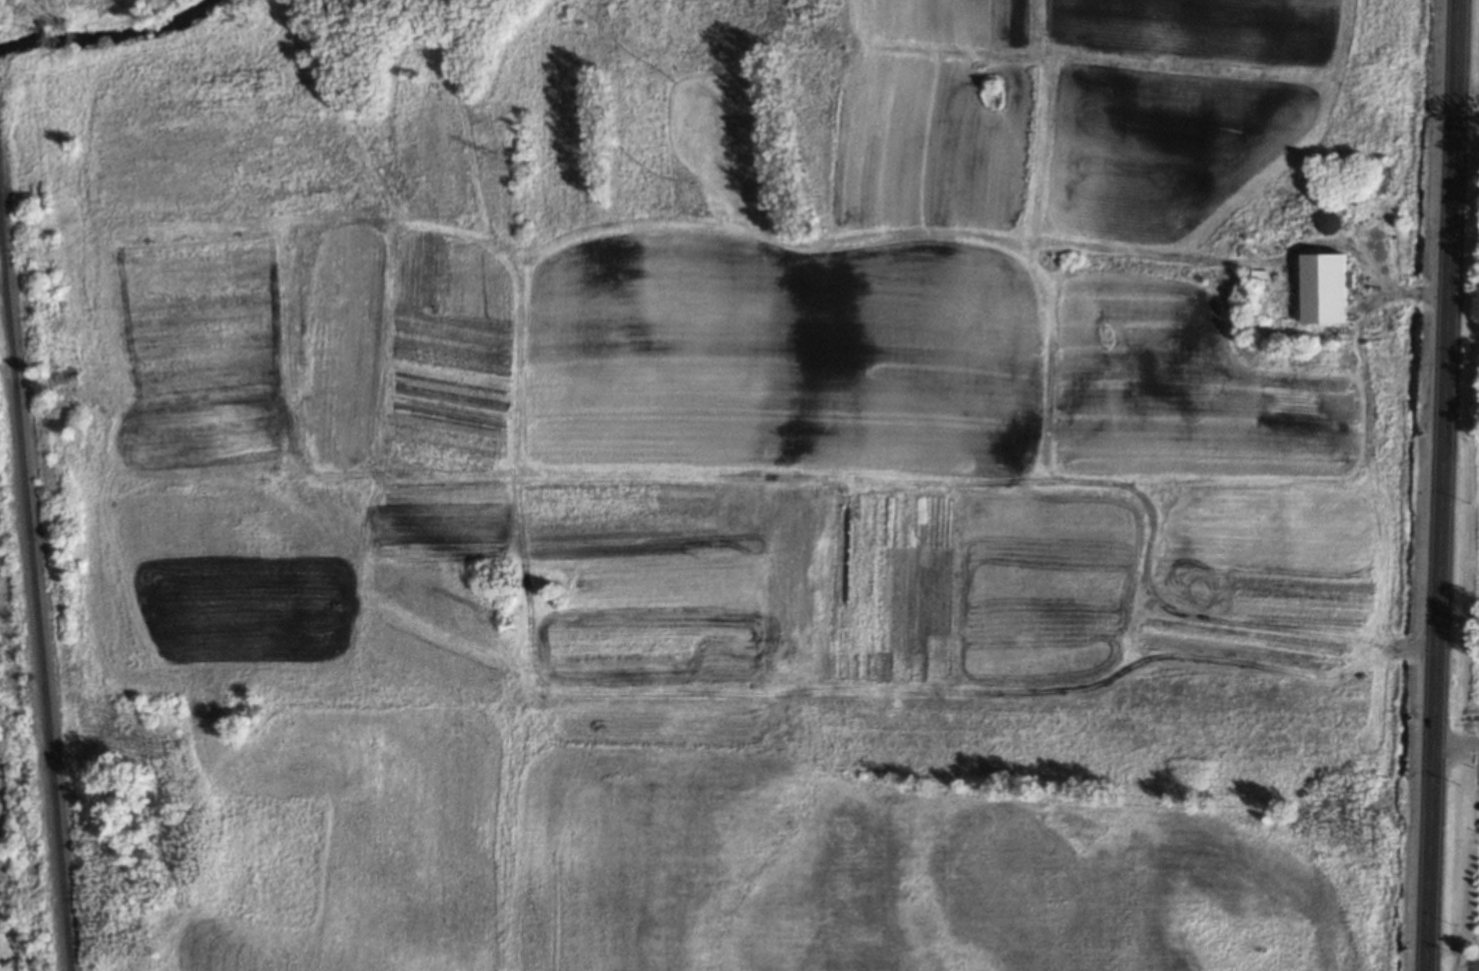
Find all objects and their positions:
river: (110, 40)
park: (495, 121)
building: (1328, 221)
building: (1323, 287)
road: (1442, 485)
crop: (796, 554)
railway: (34, 598)
road: (1456, 750)

